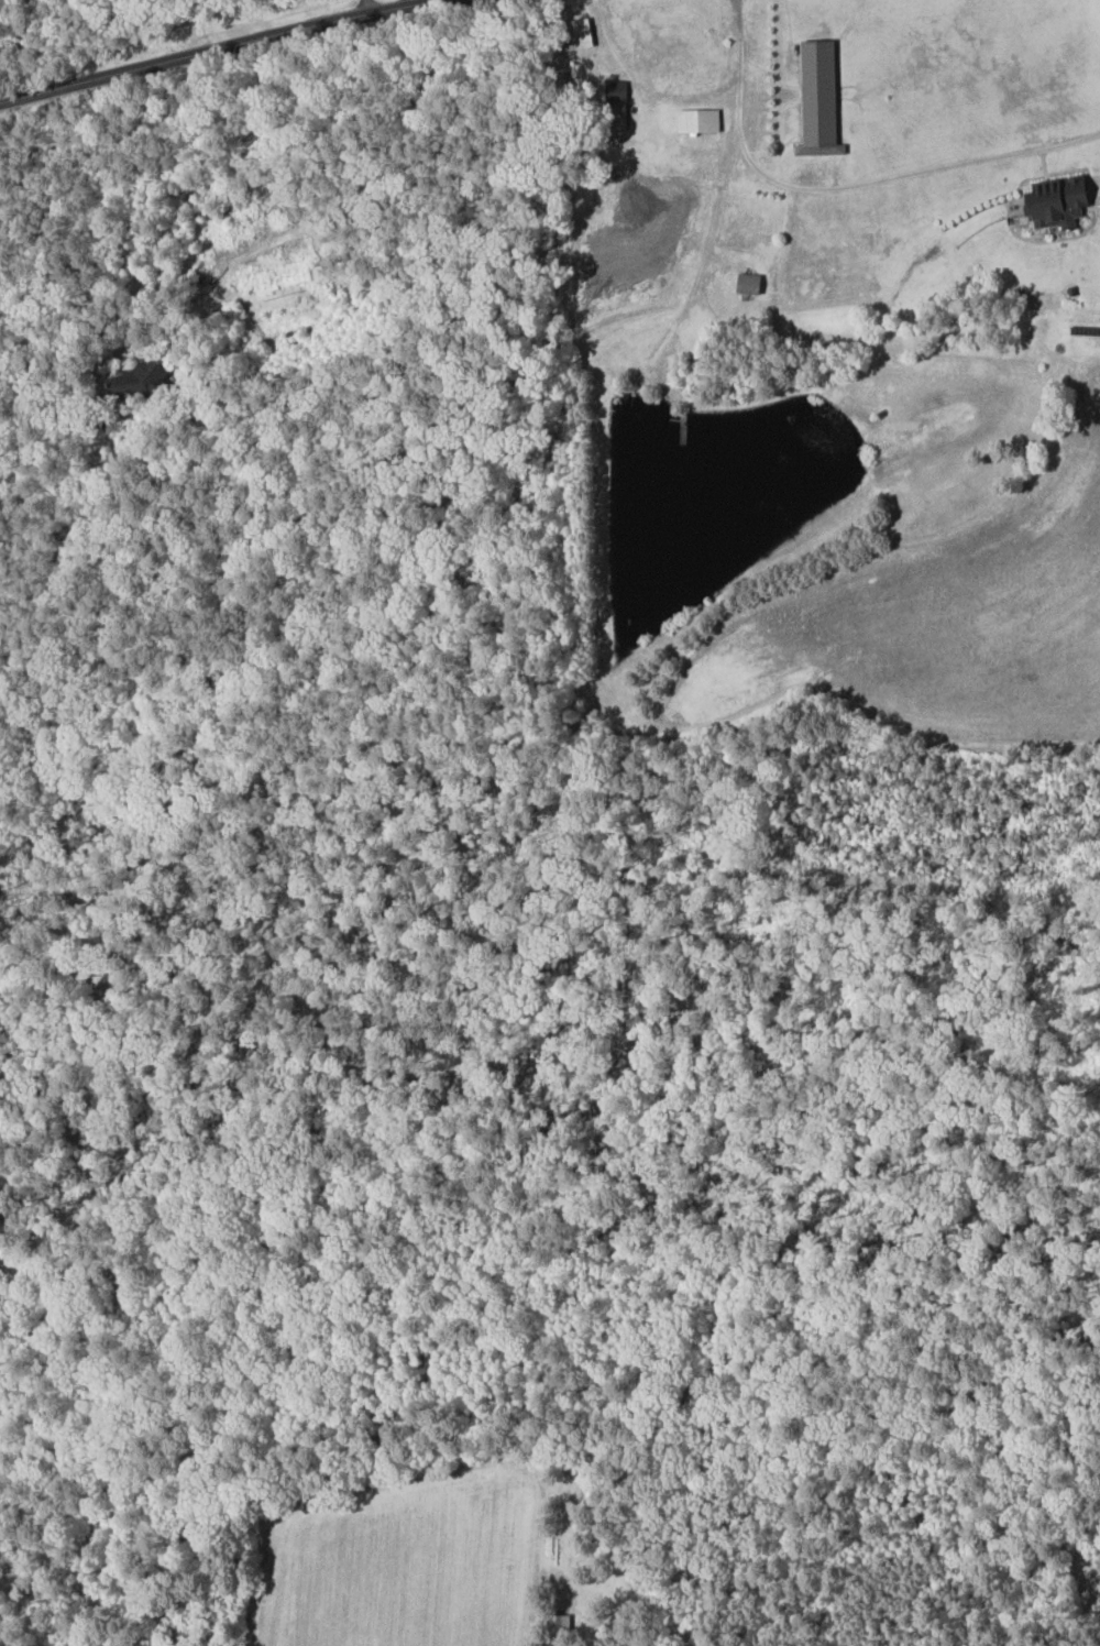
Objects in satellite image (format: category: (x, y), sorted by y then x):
road: (414, 4)
road: (366, 9)
road: (234, 51)
road: (643, 84)
building: (815, 98)
building: (614, 116)
building: (695, 120)
road: (842, 187)
building: (1053, 201)
building: (746, 283)
building: (558, 1623)

